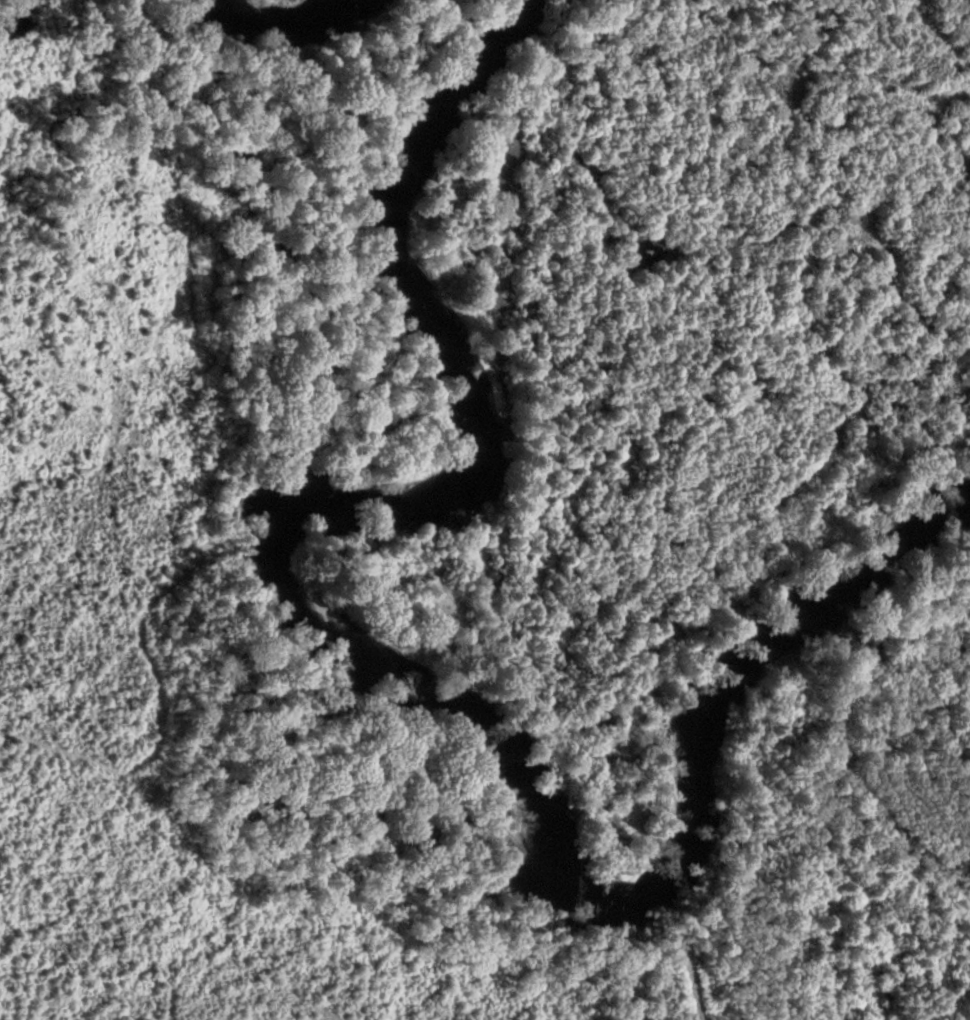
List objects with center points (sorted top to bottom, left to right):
road: (110, 710)
park: (837, 829)
road: (669, 946)

